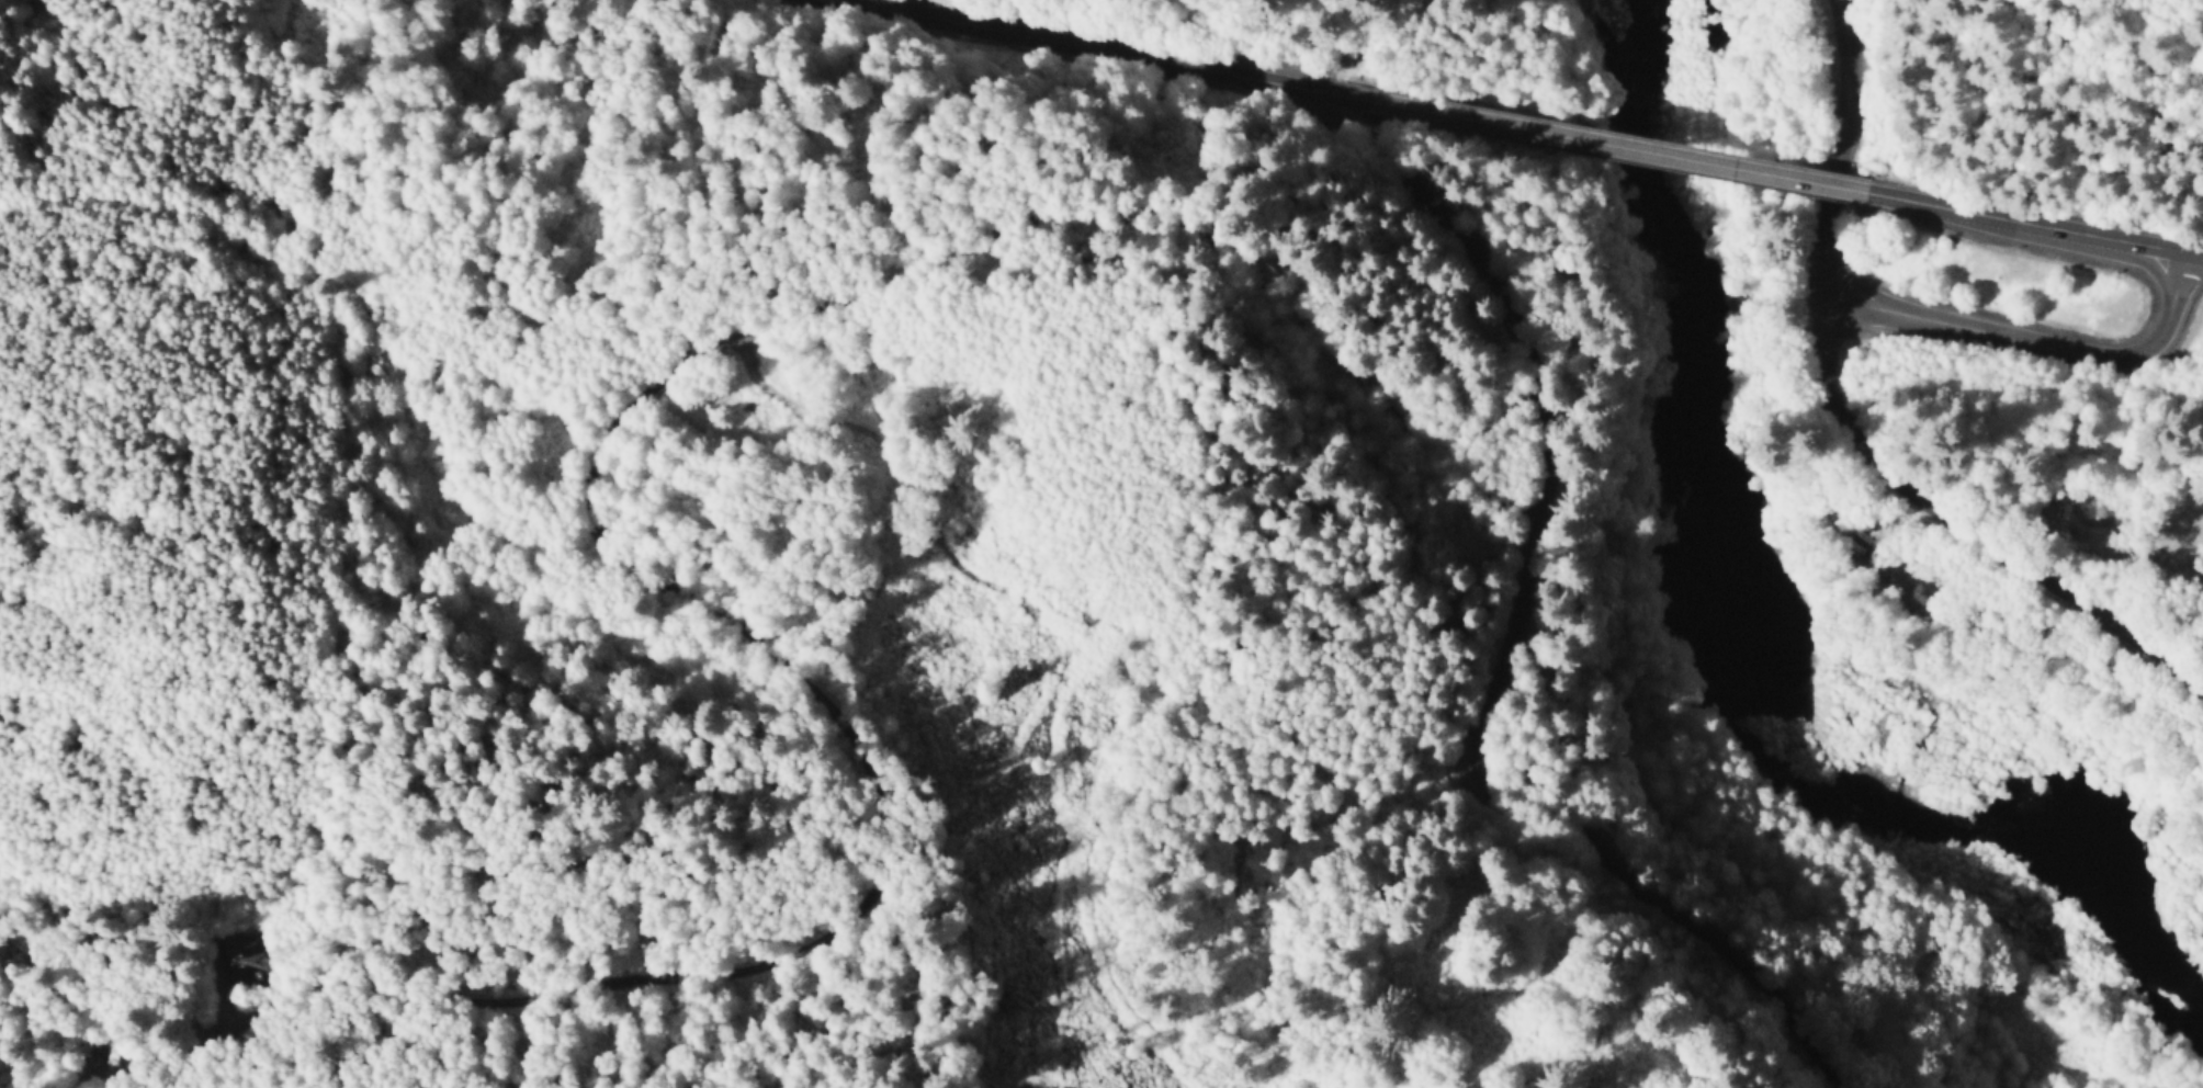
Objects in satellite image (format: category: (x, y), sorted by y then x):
road: (1140, 47)
road: (1857, 105)
road: (1631, 145)
road: (2003, 216)
road: (2165, 247)
road: (2196, 252)
road: (1833, 254)
road: (2168, 273)
road: (1861, 274)
road: (2183, 285)
road: (1874, 307)
road: (2053, 342)
road: (1952, 536)
river: (1766, 591)
road: (1501, 650)

